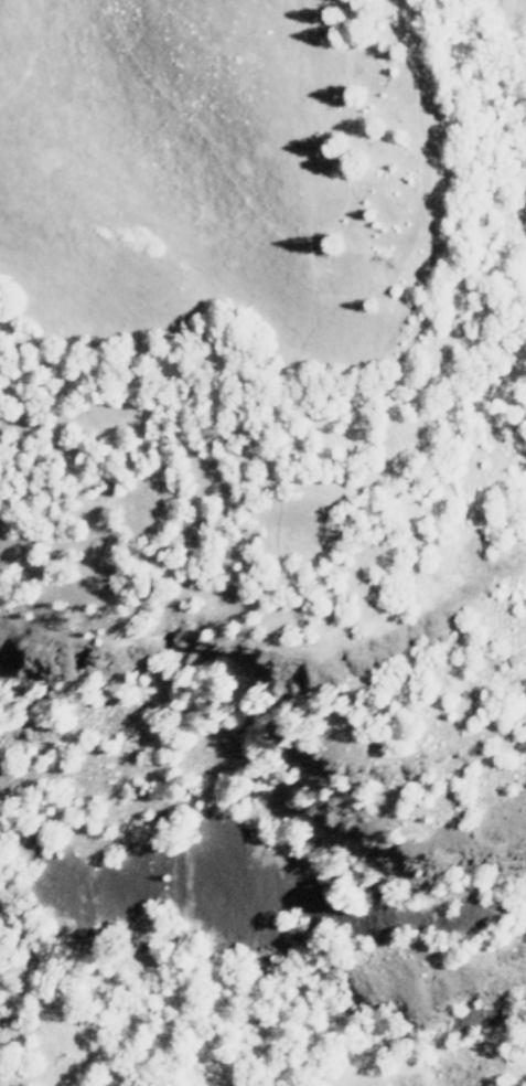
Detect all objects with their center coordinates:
road: (348, 125)
road: (202, 137)

